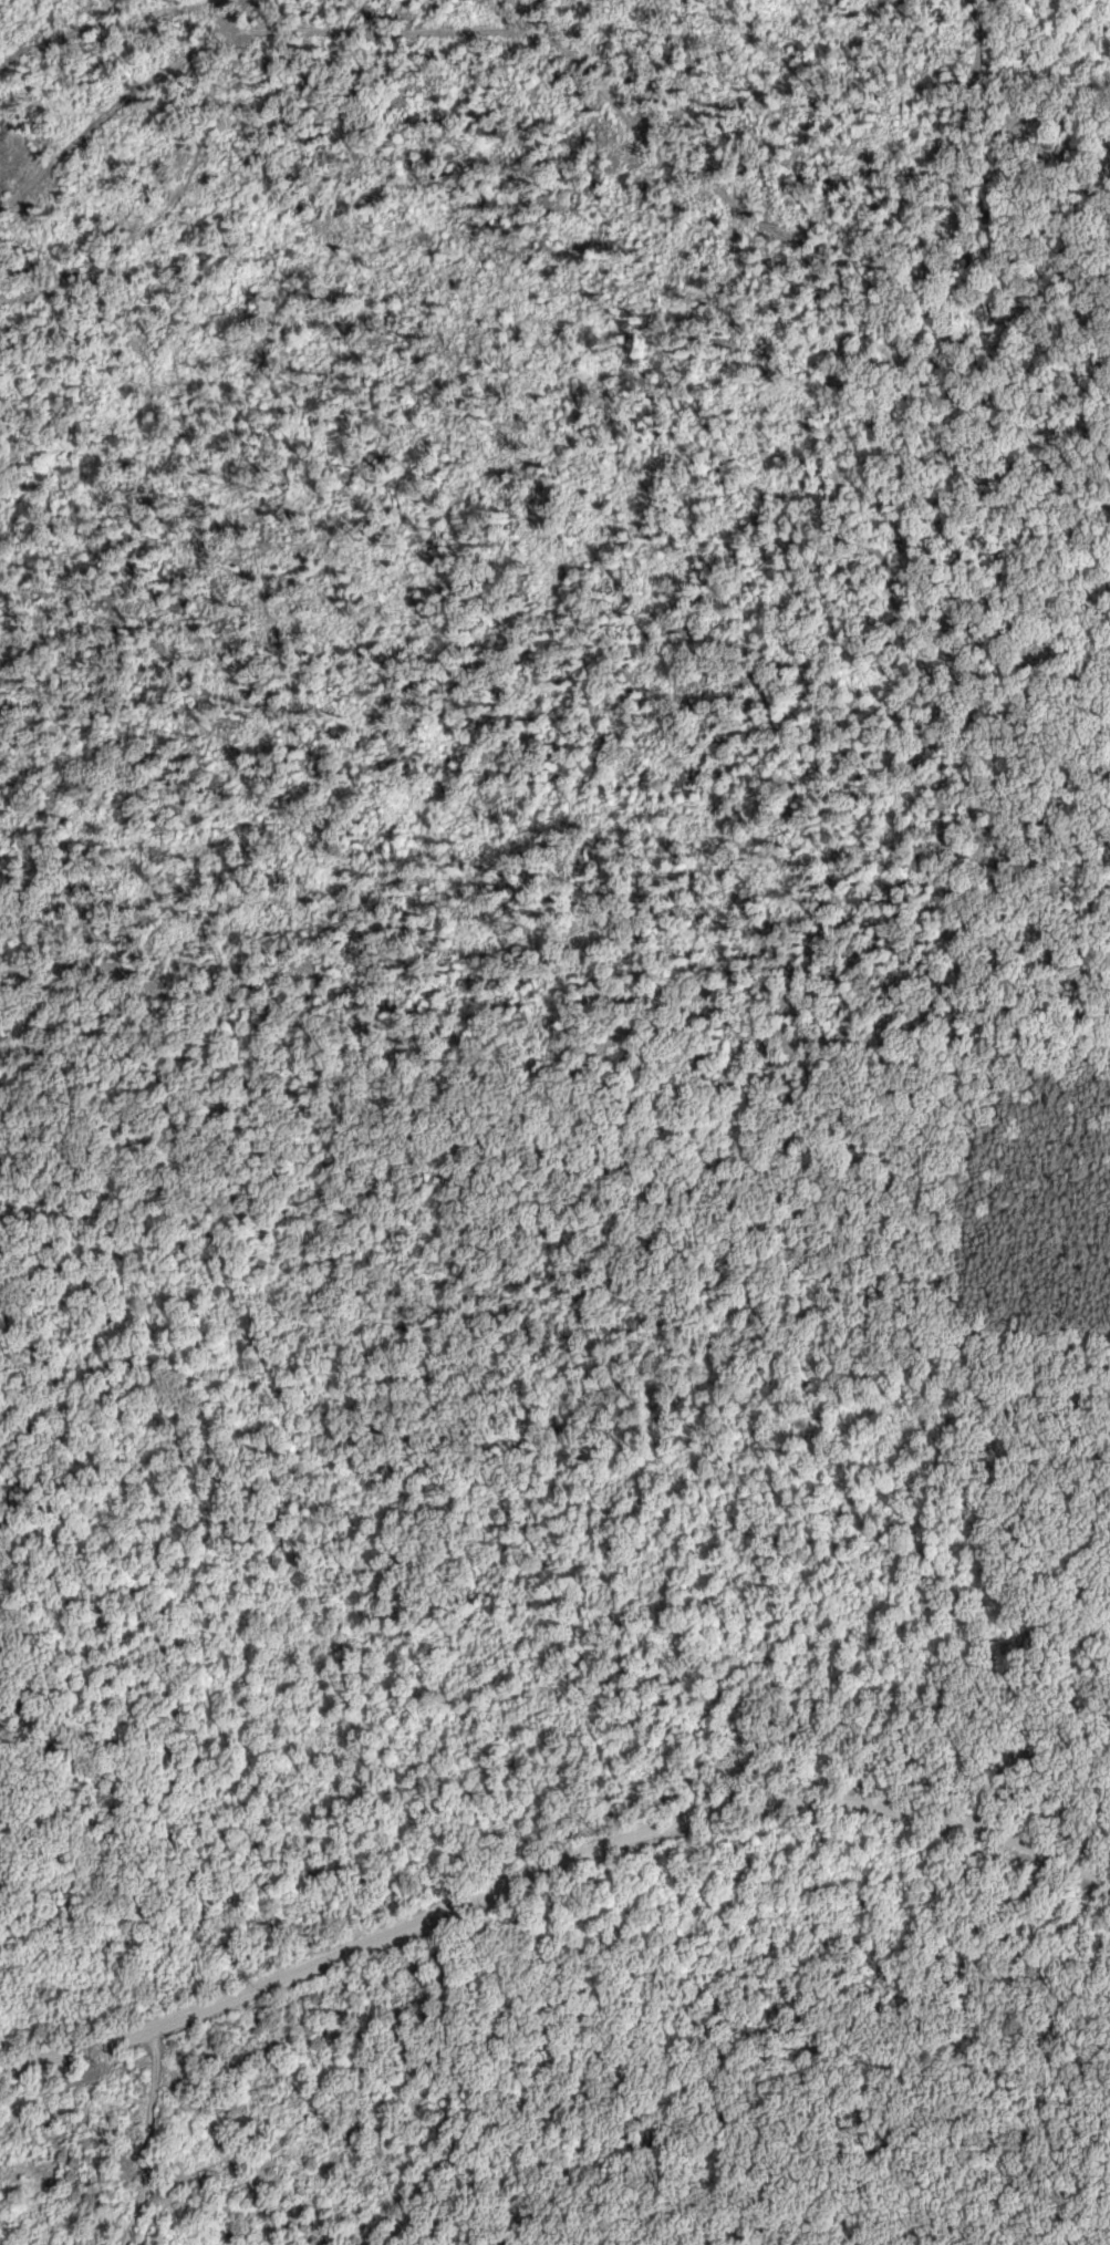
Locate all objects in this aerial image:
road: (539, 1882)

